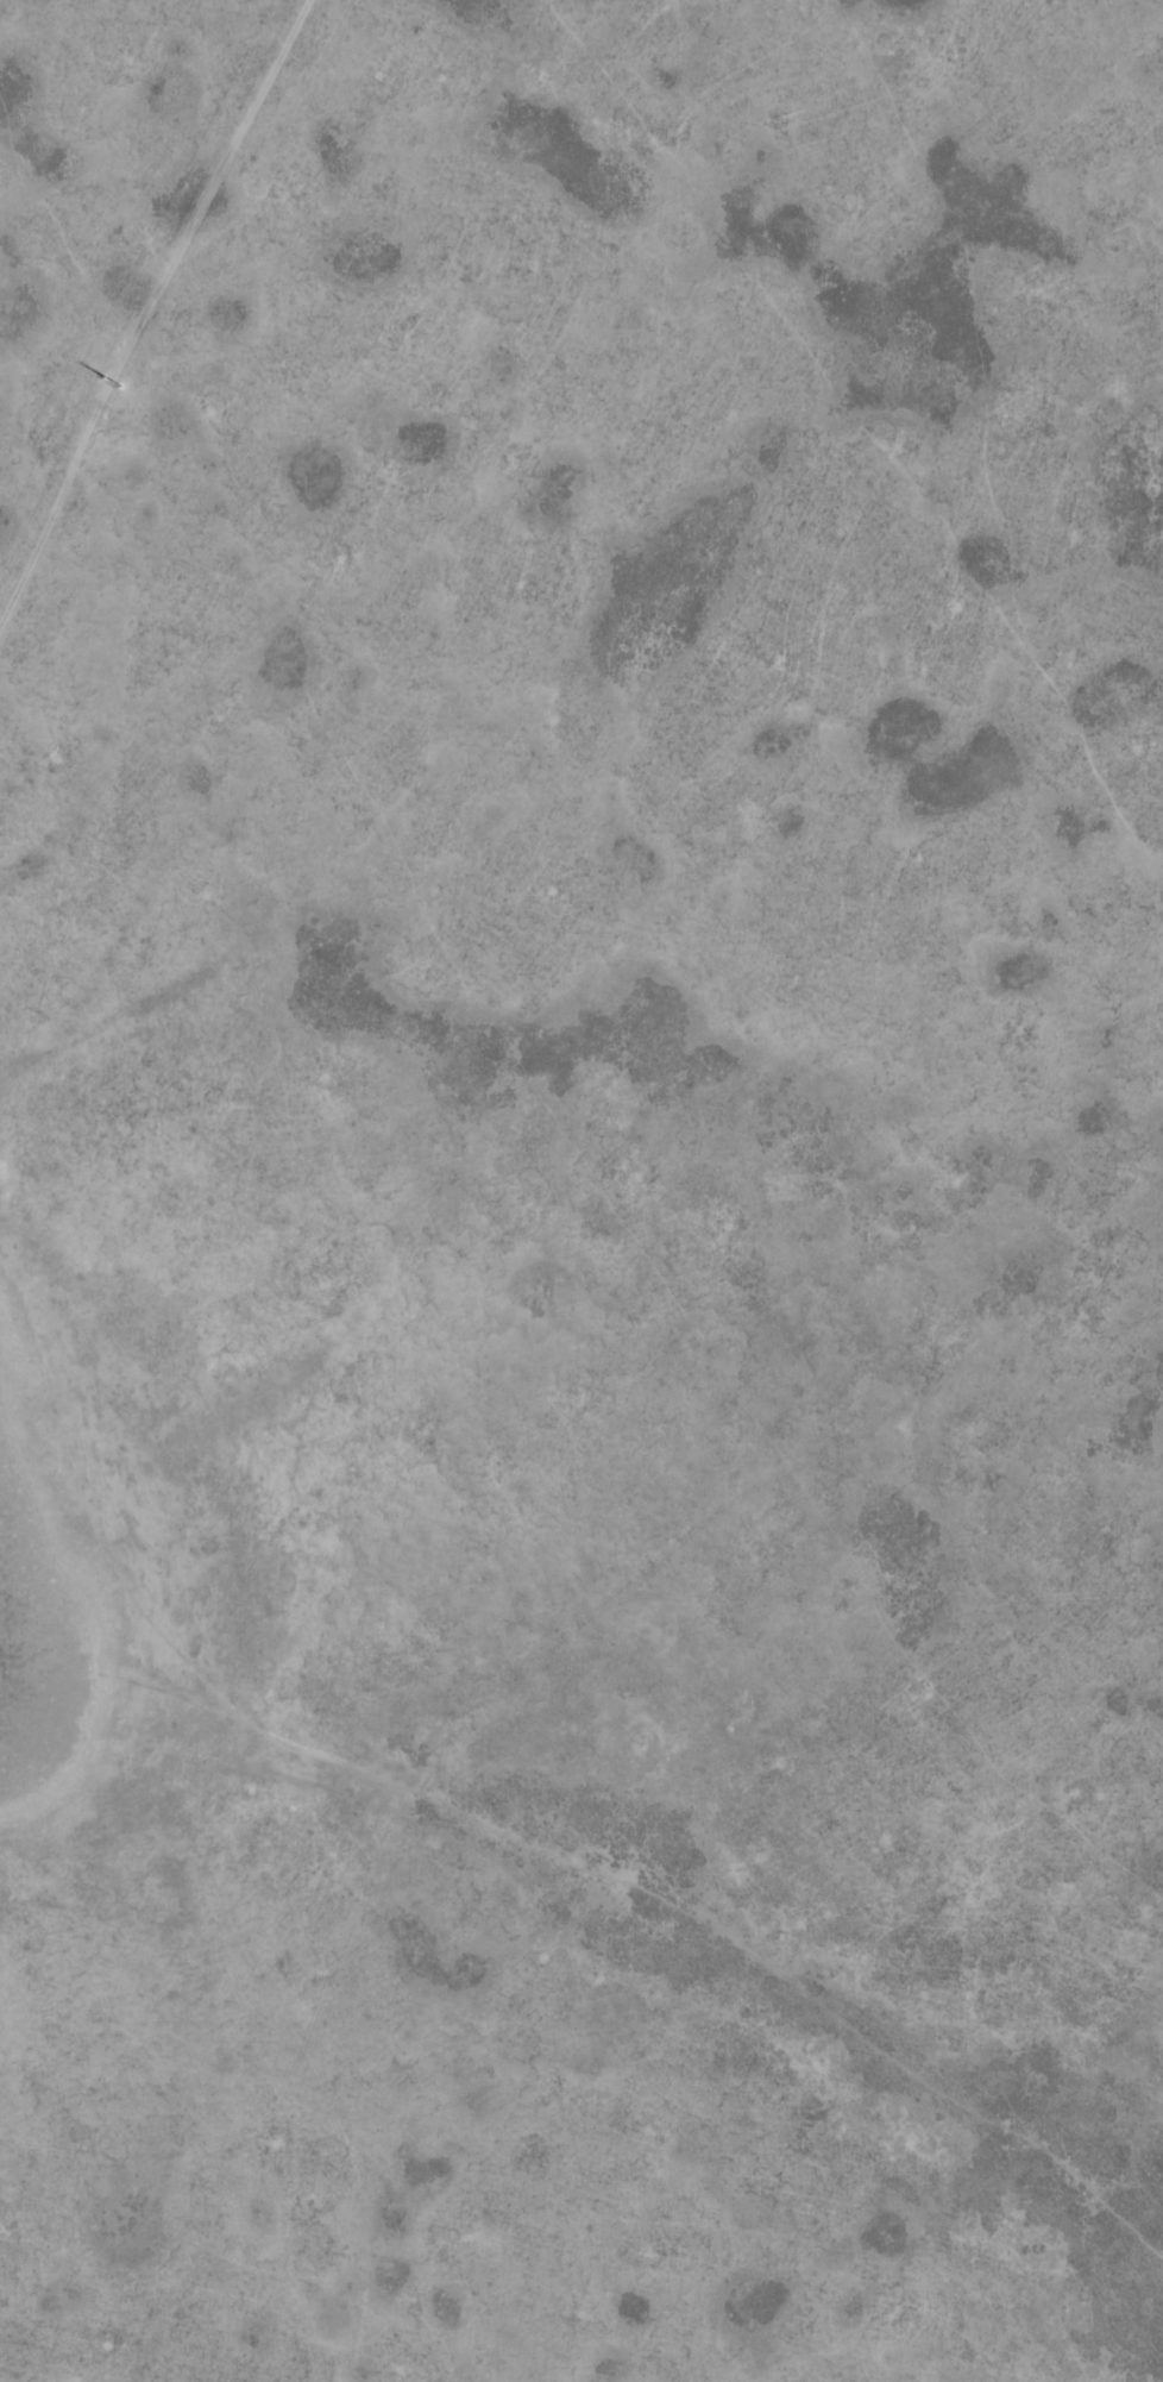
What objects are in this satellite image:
power tower: (114, 378)

